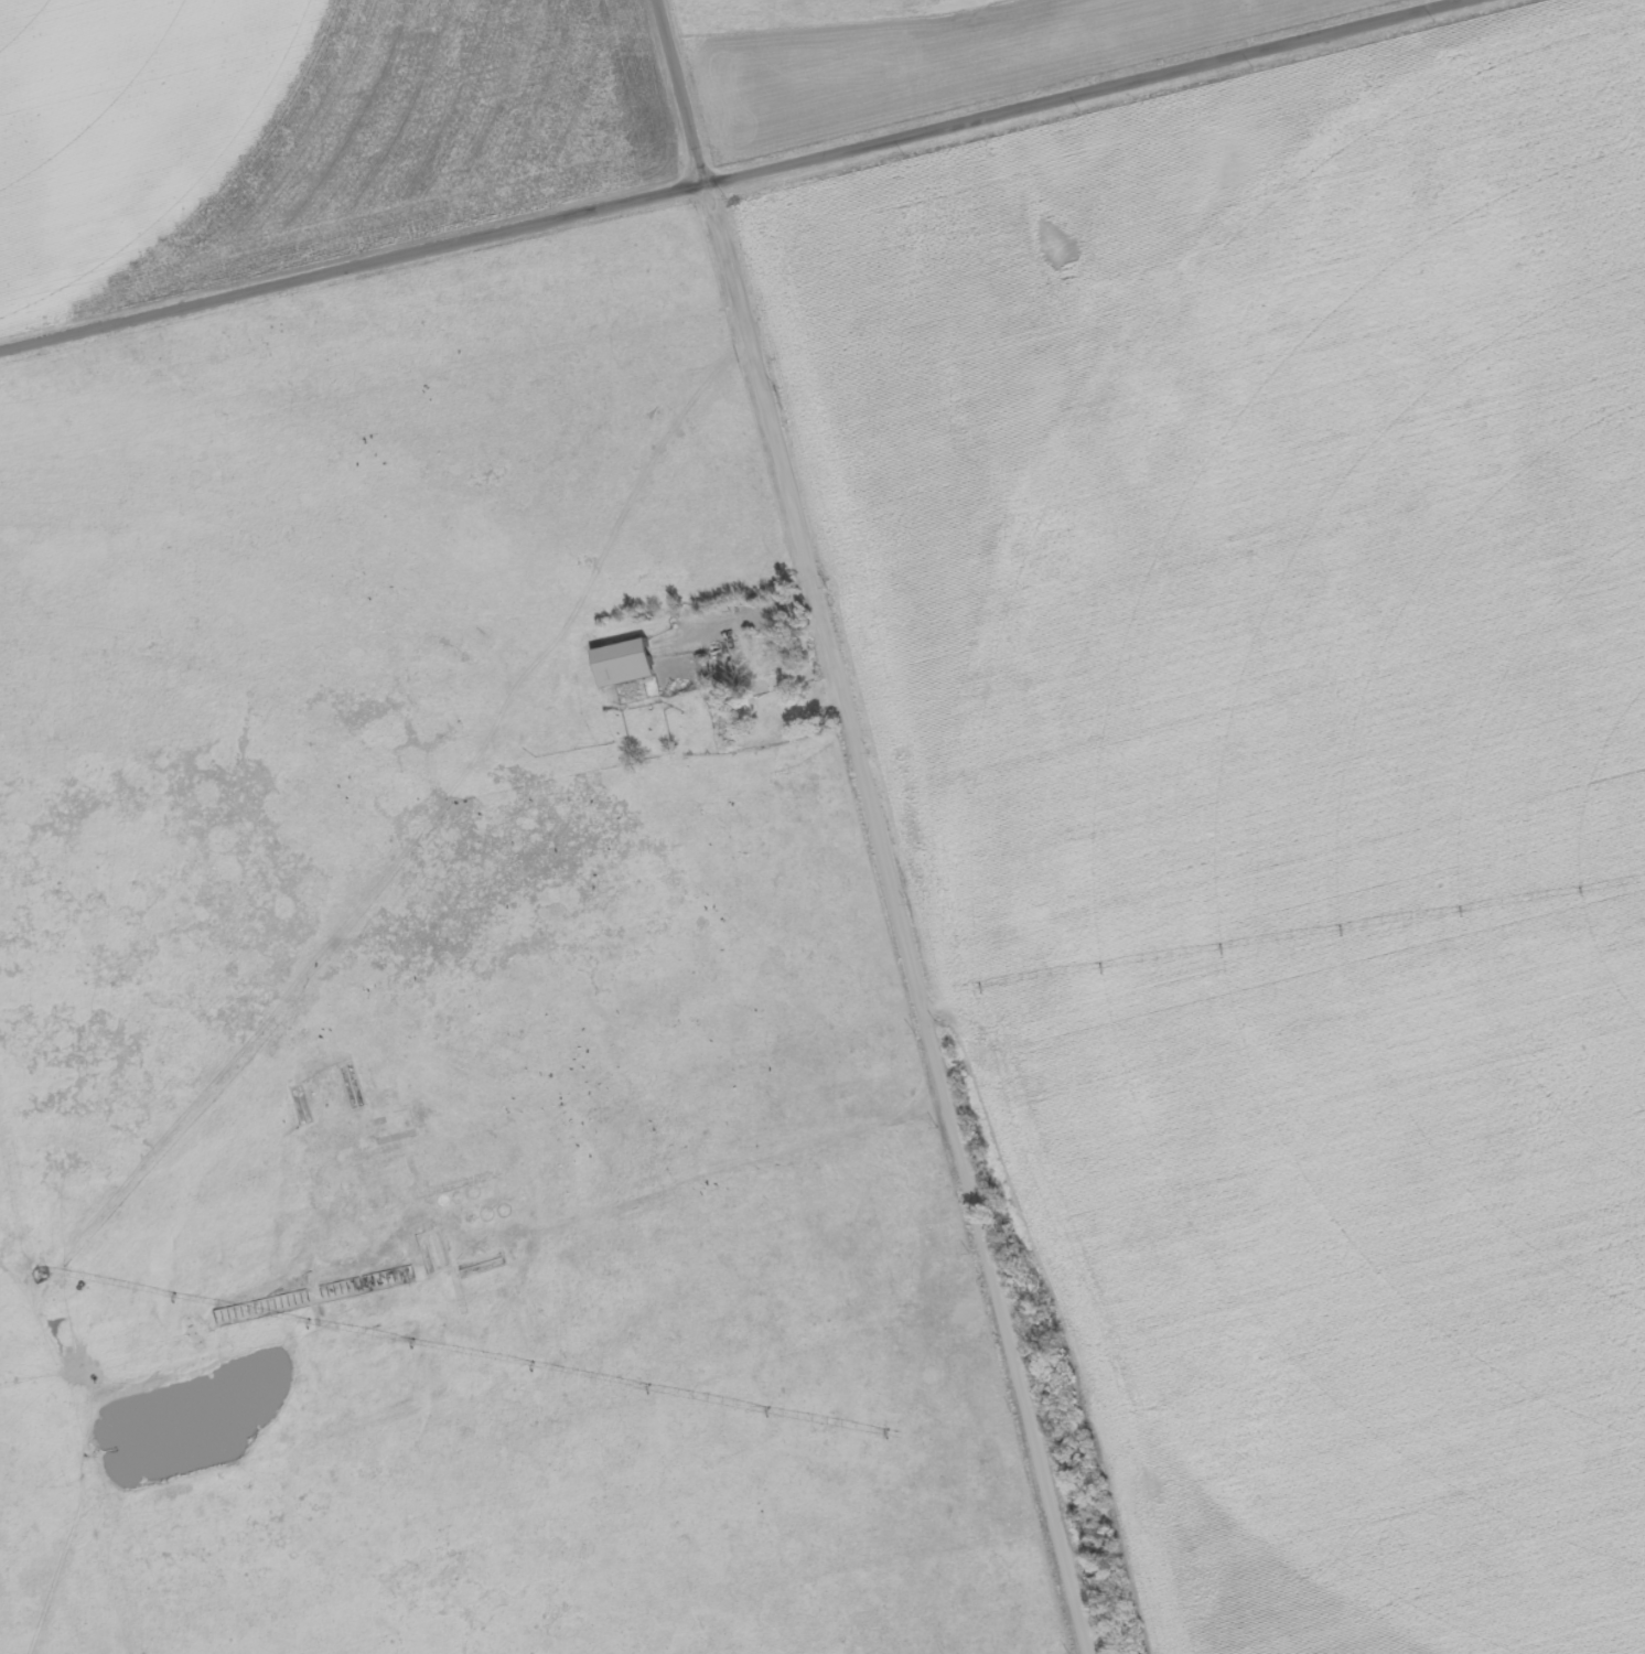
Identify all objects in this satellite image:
road: (1434, 122)
road: (728, 179)
building: (750, 657)
building: (630, 664)
road: (867, 827)
road: (463, 1211)
road: (1173, 1486)
road: (94, 1496)
road: (1463, 1607)

